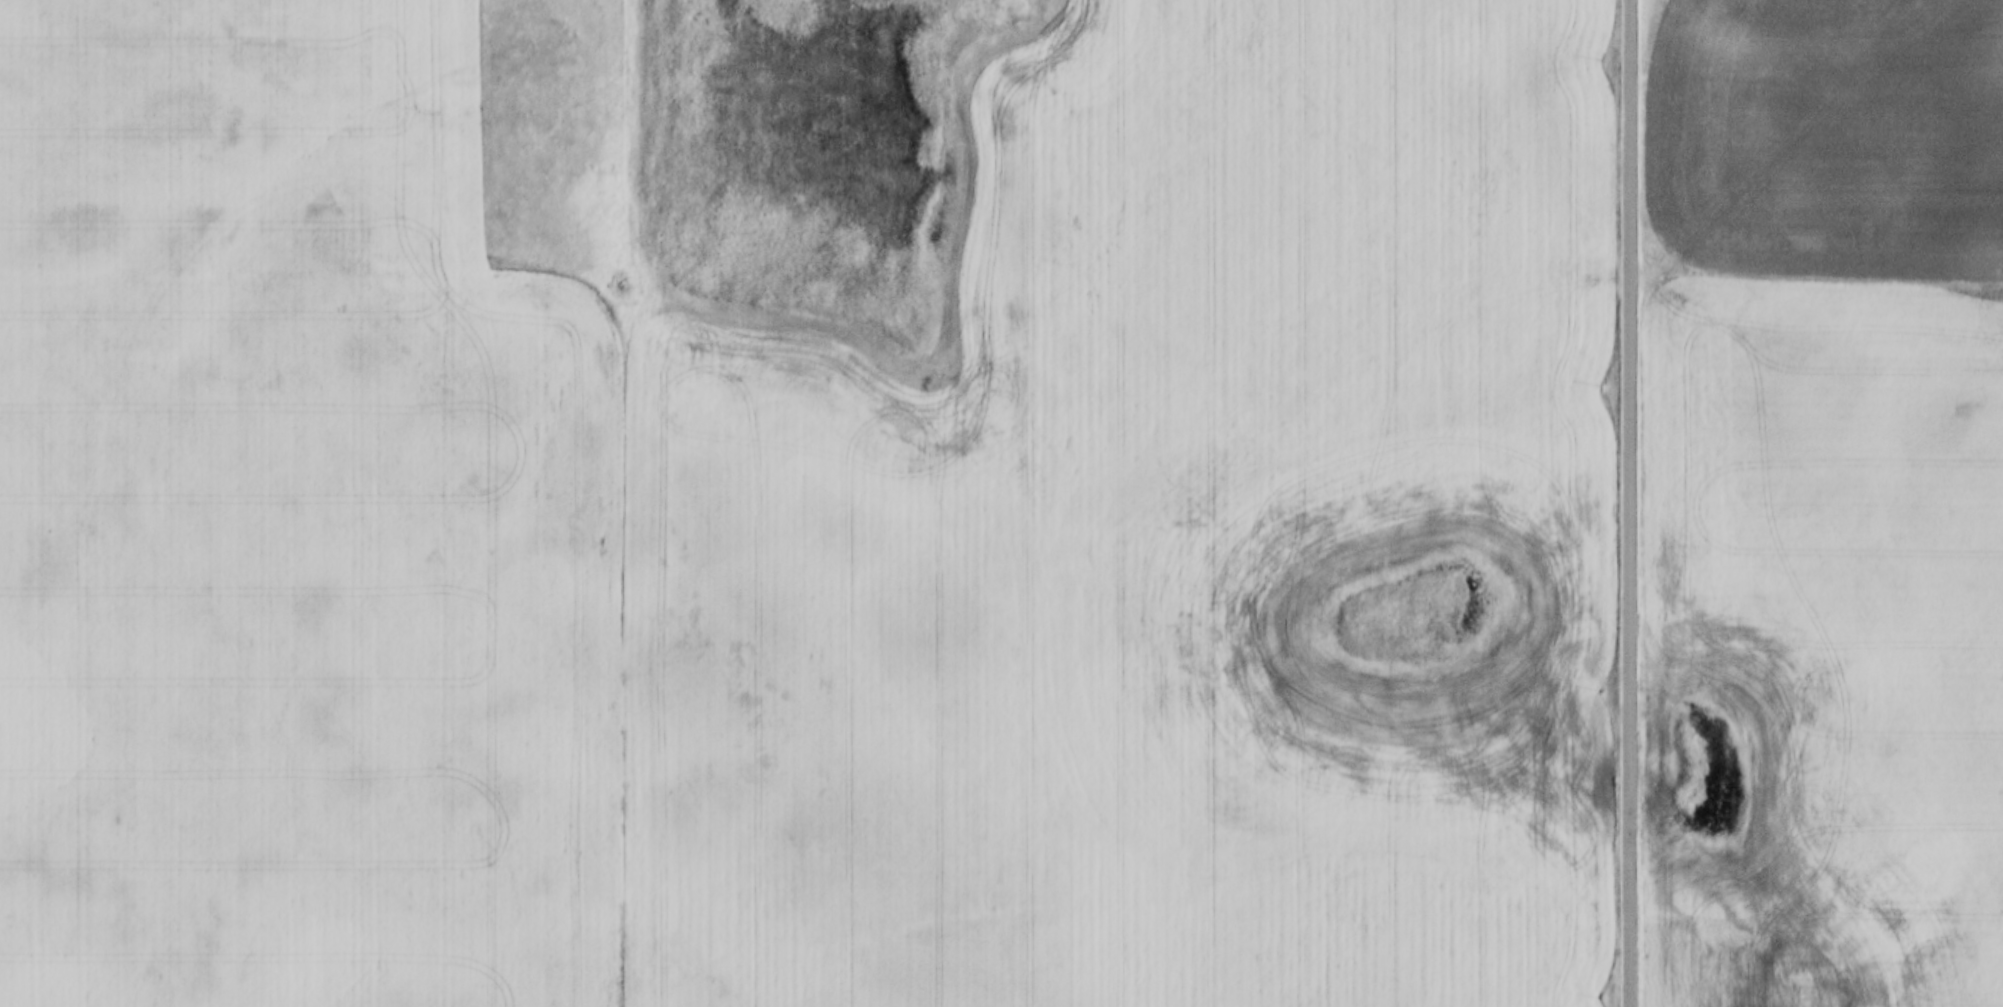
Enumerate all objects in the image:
road: (1630, 503)

